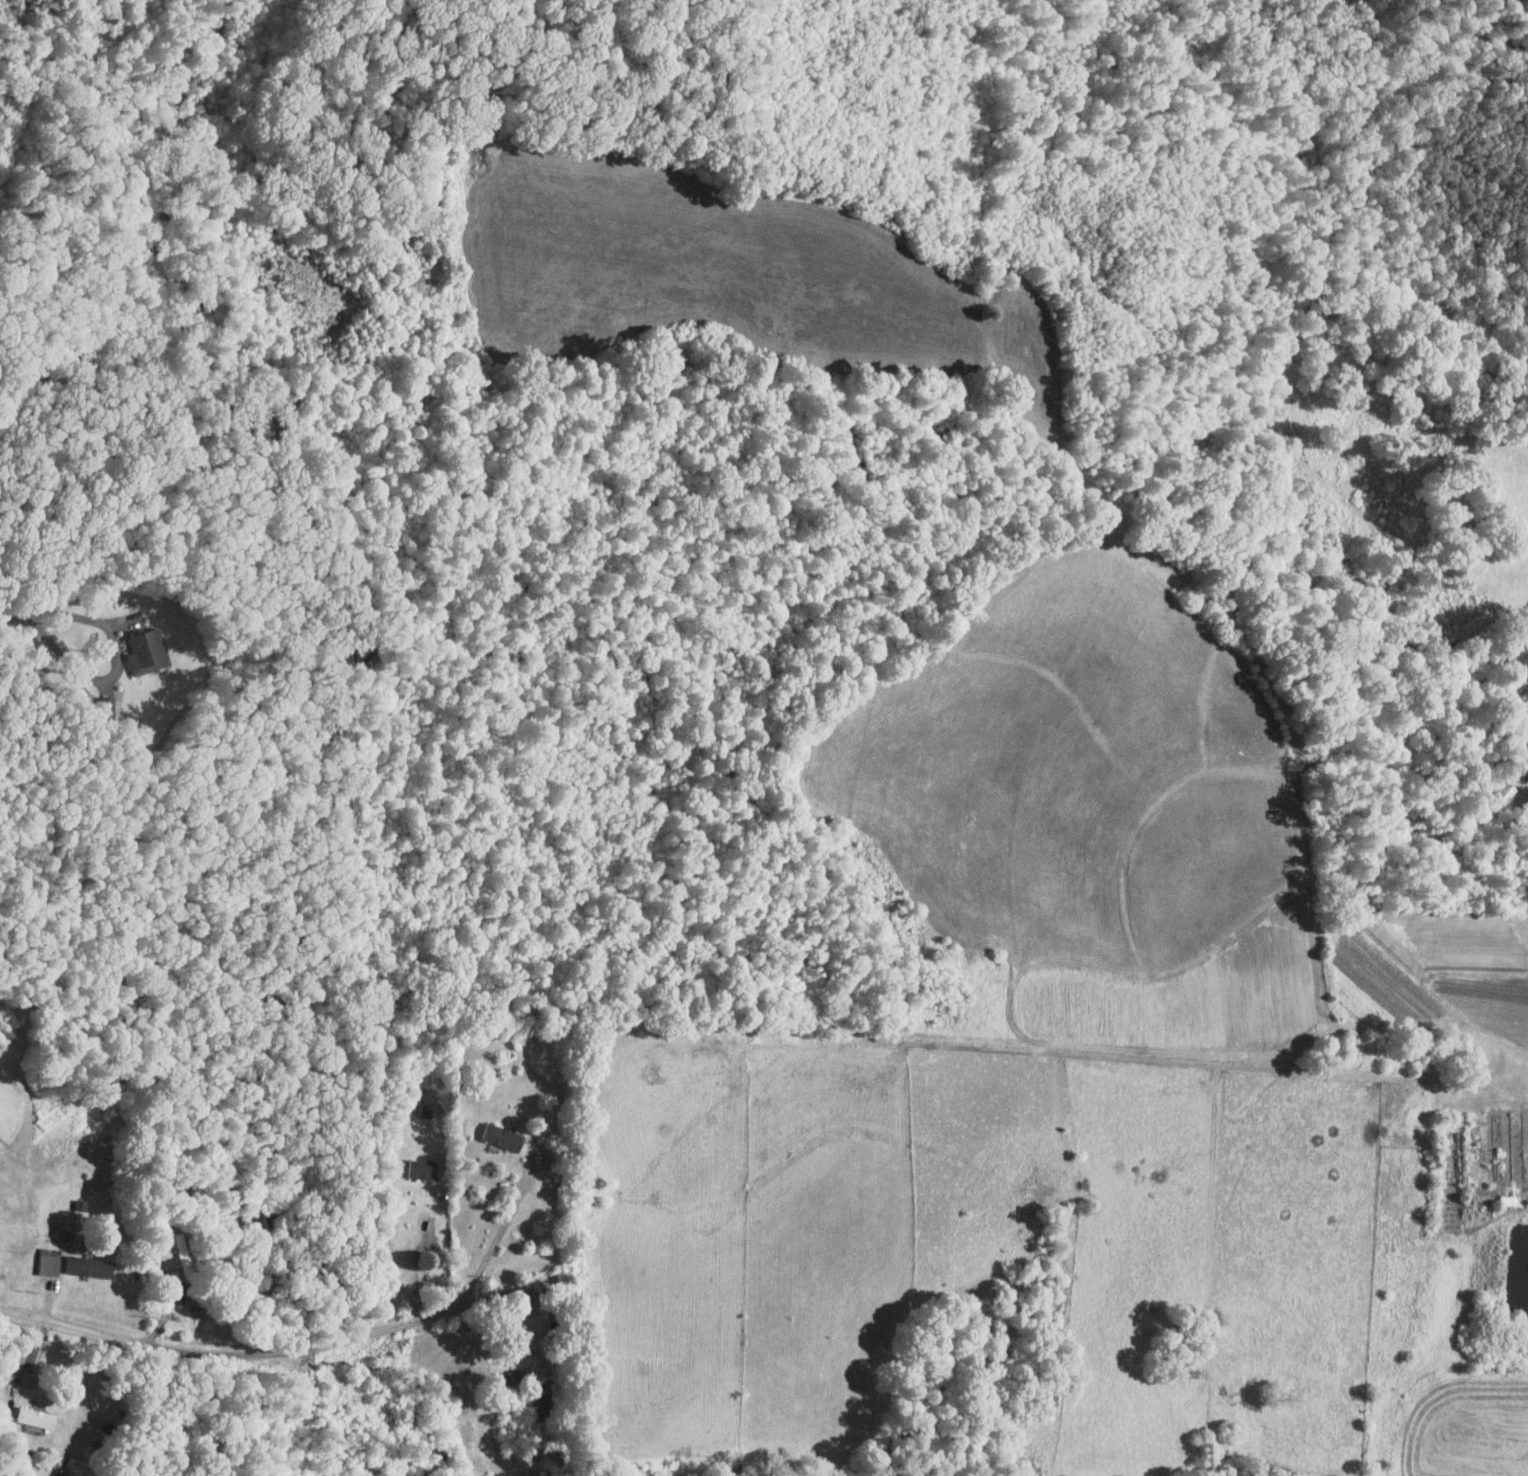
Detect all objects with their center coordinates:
road: (15, 615)
building: (145, 649)
road: (115, 666)
building: (503, 1136)
building: (423, 1168)
road: (497, 1237)
building: (50, 1261)
building: (89, 1266)
road: (267, 1352)
building: (513, 1376)
road: (118, 1399)
building: (541, 1401)
building: (36, 1417)
building: (75, 1465)

